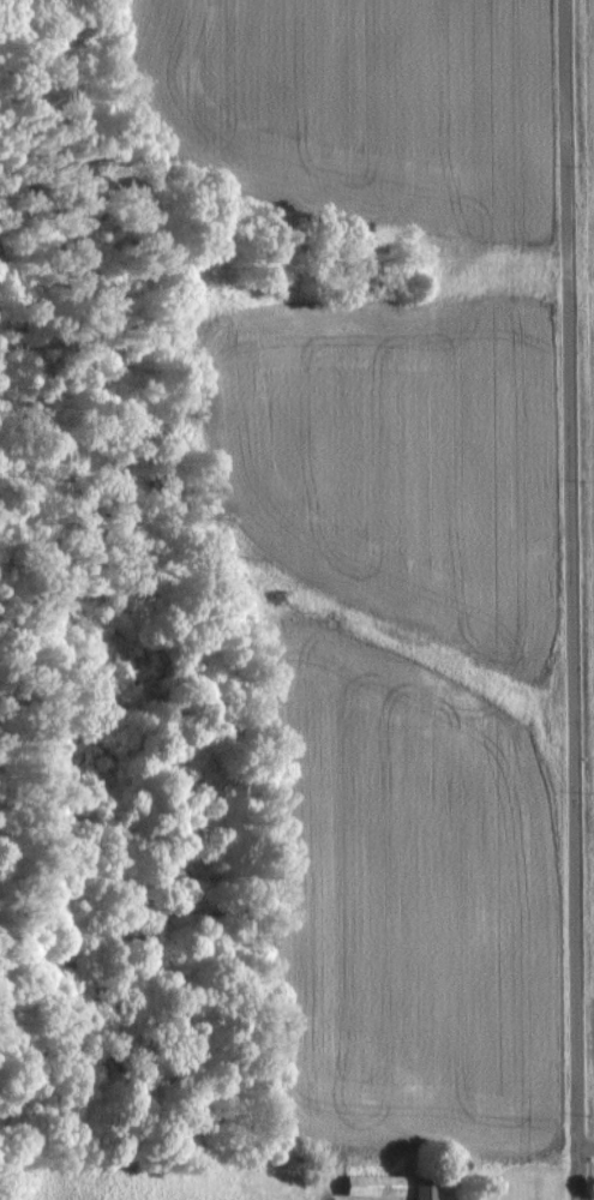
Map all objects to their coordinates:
road: (575, 599)
road: (586, 1147)
building: (368, 1184)
building: (422, 1188)

